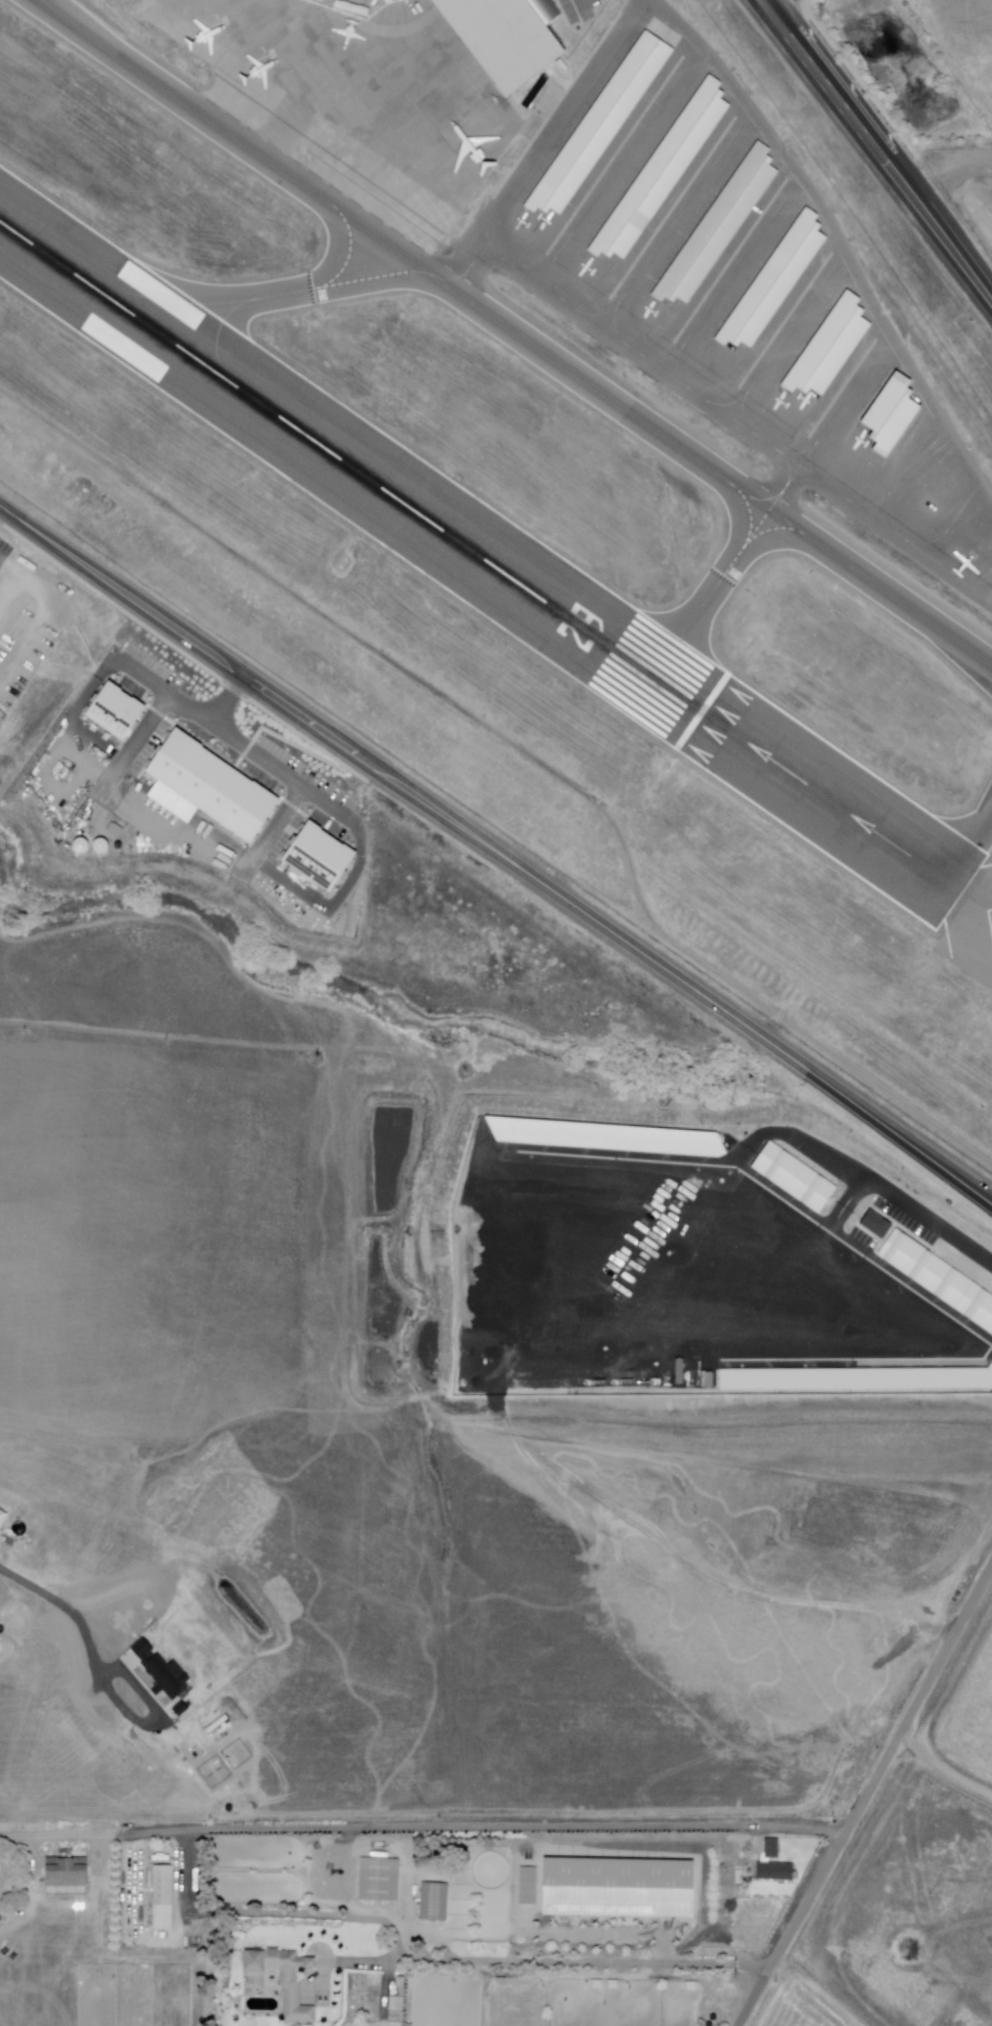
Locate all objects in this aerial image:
road: (581, 8)
airport hangar: (506, 37)
building: (506, 37)
airport apron: (353, 97)
airport hangar: (596, 123)
building: (596, 123)
road: (882, 149)
airport hangar: (661, 169)
building: (661, 169)
road: (803, 186)
airport hangar: (714, 223)
building: (714, 223)
airport taxiway: (385, 245)
airport taxiway: (346, 254)
airport taxiway: (461, 276)
airport hangar: (769, 276)
building: (769, 276)
airport taxiway: (367, 279)
airport apron: (728, 288)
airport taxiway: (165, 298)
airport taxiway: (231, 310)
airport hangar: (823, 346)
building: (823, 346)
airport hangar: (887, 414)
building: (887, 414)
airport: (538, 464)
airport taxiway: (764, 500)
airport taxiway: (779, 517)
airport taxiway: (765, 532)
airport taxiway: (746, 537)
airport runway: (480, 556)
road: (14, 579)
airport taxiway: (863, 580)
parking lot: (25, 616)
road: (36, 618)
airport taxiway: (684, 635)
airport taxiway: (659, 648)
road: (226, 697)
building: (116, 712)
road: (525, 753)
building: (214, 788)
road: (496, 850)
airport taxiway: (948, 852)
building: (319, 861)
crop: (369, 1474)
road: (941, 1769)
road: (864, 1796)
road: (317, 1828)
road: (113, 1837)
building: (772, 1848)
building: (776, 1872)
building: (69, 1874)
building: (377, 1880)
building: (616, 1888)
building: (165, 1894)
building: (432, 1902)
building: (285, 1981)
crop: (801, 2002)

